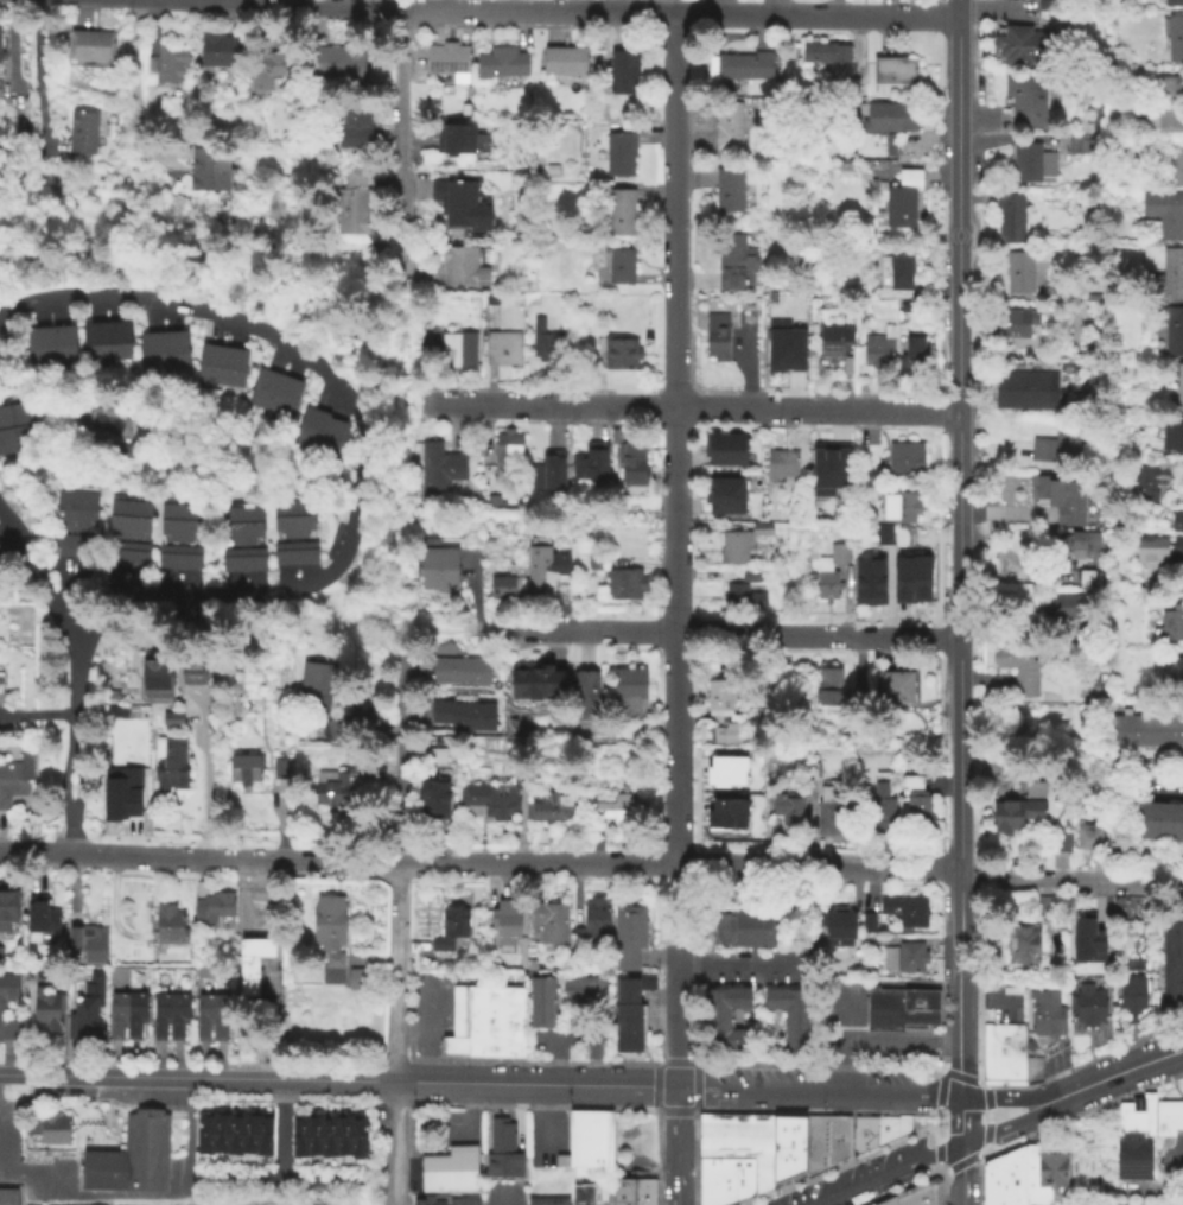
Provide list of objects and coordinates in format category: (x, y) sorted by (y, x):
building: (1018, 0)
road: (320, 2)
road: (394, 2)
building: (1172, 4)
building: (1044, 6)
road: (534, 8)
road: (816, 14)
building: (0, 30)
building: (1175, 39)
building: (90, 47)
building: (1018, 47)
building: (217, 50)
building: (827, 57)
building: (567, 59)
building: (447, 61)
building: (505, 61)
building: (335, 63)
building: (165, 66)
building: (743, 68)
building: (262, 71)
building: (625, 71)
building: (892, 71)
road: (36, 74)
building: (851, 88)
road: (132, 99)
building: (1025, 102)
building: (1165, 108)
building: (889, 119)
building: (727, 127)
building: (354, 128)
building: (84, 132)
building: (458, 137)
building: (1077, 144)
building: (623, 153)
road: (397, 154)
building: (1172, 163)
building: (878, 164)
building: (1026, 164)
building: (554, 169)
building: (206, 175)
building: (727, 192)
building: (902, 202)
building: (350, 203)
building: (462, 204)
building: (623, 210)
road: (675, 210)
building: (1164, 215)
building: (1010, 221)
building: (739, 260)
road: (959, 261)
building: (462, 267)
building: (619, 267)
building: (1019, 275)
building: (1172, 275)
building: (893, 280)
building: (791, 298)
building: (491, 302)
building: (864, 304)
building: (905, 310)
building: (1012, 326)
building: (1174, 332)
building: (715, 338)
building: (834, 340)
building: (93, 343)
building: (116, 343)
building: (545, 343)
building: (878, 347)
building: (62, 348)
building: (458, 348)
building: (38, 349)
building: (501, 350)
building: (791, 350)
building: (619, 353)
building: (174, 354)
building: (151, 355)
road: (401, 355)
building: (911, 359)
building: (206, 367)
building: (231, 370)
building: (1022, 387)
building: (263, 391)
building: (1178, 391)
building: (285, 398)
road: (542, 405)
road: (777, 410)
road: (918, 412)
building: (12, 417)
building: (310, 430)
road: (364, 432)
building: (1179, 436)
building: (14, 442)
building: (332, 442)
building: (1061, 443)
building: (507, 450)
building: (724, 451)
building: (119, 454)
building: (631, 459)
building: (593, 462)
road: (676, 462)
building: (904, 462)
building: (786, 467)
building: (833, 467)
building: (443, 468)
building: (551, 471)
building: (1147, 483)
building: (1062, 495)
building: (723, 497)
building: (496, 501)
building: (898, 509)
building: (1176, 521)
building: (64, 526)
building: (84, 527)
building: (764, 528)
building: (117, 533)
building: (304, 534)
building: (138, 535)
building: (284, 535)
building: (888, 535)
building: (168, 538)
building: (780, 538)
building: (189, 539)
building: (230, 539)
building: (252, 540)
building: (737, 545)
building: (1073, 546)
building: (294, 551)
building: (1159, 552)
building: (178, 563)
building: (593, 563)
building: (441, 567)
building: (542, 573)
building: (828, 573)
building: (1083, 576)
road: (42, 577)
building: (921, 577)
building: (749, 578)
building: (902, 579)
building: (869, 581)
road: (959, 581)
road: (87, 584)
building: (505, 586)
building: (624, 586)
building: (740, 600)
building: (13, 604)
building: (1069, 604)
building: (1171, 624)
building: (1062, 627)
road: (432, 630)
road: (676, 630)
road: (667, 632)
road: (908, 635)
building: (1020, 664)
building: (457, 670)
building: (1172, 671)
building: (192, 672)
building: (157, 674)
building: (319, 679)
building: (1, 683)
building: (535, 683)
building: (1087, 685)
building: (828, 689)
building: (632, 690)
building: (893, 691)
road: (77, 695)
building: (589, 695)
building: (718, 699)
building: (468, 714)
road: (38, 716)
building: (172, 717)
building: (338, 724)
building: (1118, 731)
building: (1140, 731)
building: (1164, 731)
building: (1179, 731)
building: (724, 736)
building: (434, 759)
road: (400, 760)
building: (176, 765)
building: (281, 767)
building: (243, 769)
building: (725, 769)
building: (814, 769)
building: (17, 776)
road: (203, 776)
road: (64, 779)
road: (81, 780)
building: (342, 781)
building: (121, 791)
road: (1159, 793)
building: (492, 799)
building: (433, 801)
road: (676, 805)
building: (551, 807)
building: (882, 807)
building: (787, 810)
building: (829, 810)
building: (622, 812)
building: (1015, 816)
building: (918, 817)
building: (718, 820)
building: (1157, 820)
road: (68, 836)
building: (1093, 842)
building: (1060, 844)
road: (50, 854)
road: (159, 857)
road: (447, 862)
road: (724, 864)
road: (960, 865)
road: (866, 867)
road: (1070, 880)
road: (244, 888)
building: (7, 906)
road: (676, 906)
building: (1042, 906)
building: (212, 907)
building: (905, 911)
building: (38, 919)
building: (514, 920)
building: (327, 921)
building: (453, 922)
building: (592, 922)
building: (866, 922)
building: (501, 924)
building: (551, 924)
building: (167, 925)
building: (838, 927)
building: (743, 928)
building: (627, 937)
building: (1087, 938)
building: (72, 939)
building: (440, 945)
building: (94, 947)
building: (1022, 947)
building: (1171, 947)
building: (904, 958)
building: (256, 962)
road: (733, 966)
building: (332, 970)
building: (26, 973)
building: (1171, 979)
building: (357, 981)
road: (853, 983)
road: (872, 984)
road: (918, 984)
building: (541, 987)
building: (1131, 988)
building: (567, 991)
building: (583, 991)
building: (596, 991)
road: (756, 992)
building: (1171, 998)
building: (724, 1002)
building: (486, 1003)
building: (541, 1003)
building: (1088, 1006)
building: (901, 1007)
building: (1, 1010)
building: (1045, 1010)
building: (45, 1011)
building: (628, 1014)
building: (116, 1015)
building: (788, 1015)
building: (134, 1016)
building: (159, 1016)
building: (177, 1016)
building: (202, 1016)
building: (220, 1016)
road: (678, 1016)
building: (541, 1020)
road: (768, 1020)
building: (83, 1021)
road: (399, 1033)
building: (724, 1036)
road: (840, 1039)
building: (483, 1040)
road: (899, 1042)
building: (991, 1051)
building: (1012, 1052)
building: (1032, 1067)
road: (1121, 1070)
road: (11, 1072)
road: (209, 1076)
road: (538, 1082)
road: (818, 1090)
road: (1010, 1097)
road: (851, 1103)
building: (1168, 1109)
road: (960, 1116)
building: (863, 1123)
road: (1012, 1123)
building: (1165, 1125)
building: (53, 1128)
road: (281, 1128)
building: (823, 1128)
building: (706, 1129)
building: (725, 1129)
building: (743, 1129)
building: (762, 1129)
building: (787, 1129)
building: (890, 1129)
building: (203, 1134)
building: (217, 1134)
building: (233, 1134)
building: (247, 1135)
building: (261, 1135)
building: (327, 1136)
building: (298, 1137)
building: (312, 1137)
building: (342, 1137)
building: (357, 1137)
building: (1134, 1140)
building: (587, 1141)
building: (861, 1142)
road: (679, 1144)
building: (502, 1147)
building: (733, 1150)
building: (837, 1150)
road: (850, 1156)
building: (131, 1158)
building: (814, 1159)
building: (451, 1161)
road: (1174, 1161)
building: (786, 1165)
road: (960, 1171)
road: (880, 1173)
building: (1042, 1175)
building: (761, 1177)
building: (740, 1179)
building: (1004, 1179)
road: (281, 1180)
building: (713, 1181)
building: (447, 1182)
parking lot: (503, 1191)
building: (618, 1191)
building: (638, 1192)
building: (920, 1192)
building: (930, 1192)
building: (581, 1194)
road: (509, 1196)
building: (905, 1196)
building: (8, 1197)
road: (146, 1198)
building: (545, 1200)
building: (884, 1200)
building: (463, 1201)
building: (33, 1204)
building: (869, 1204)

